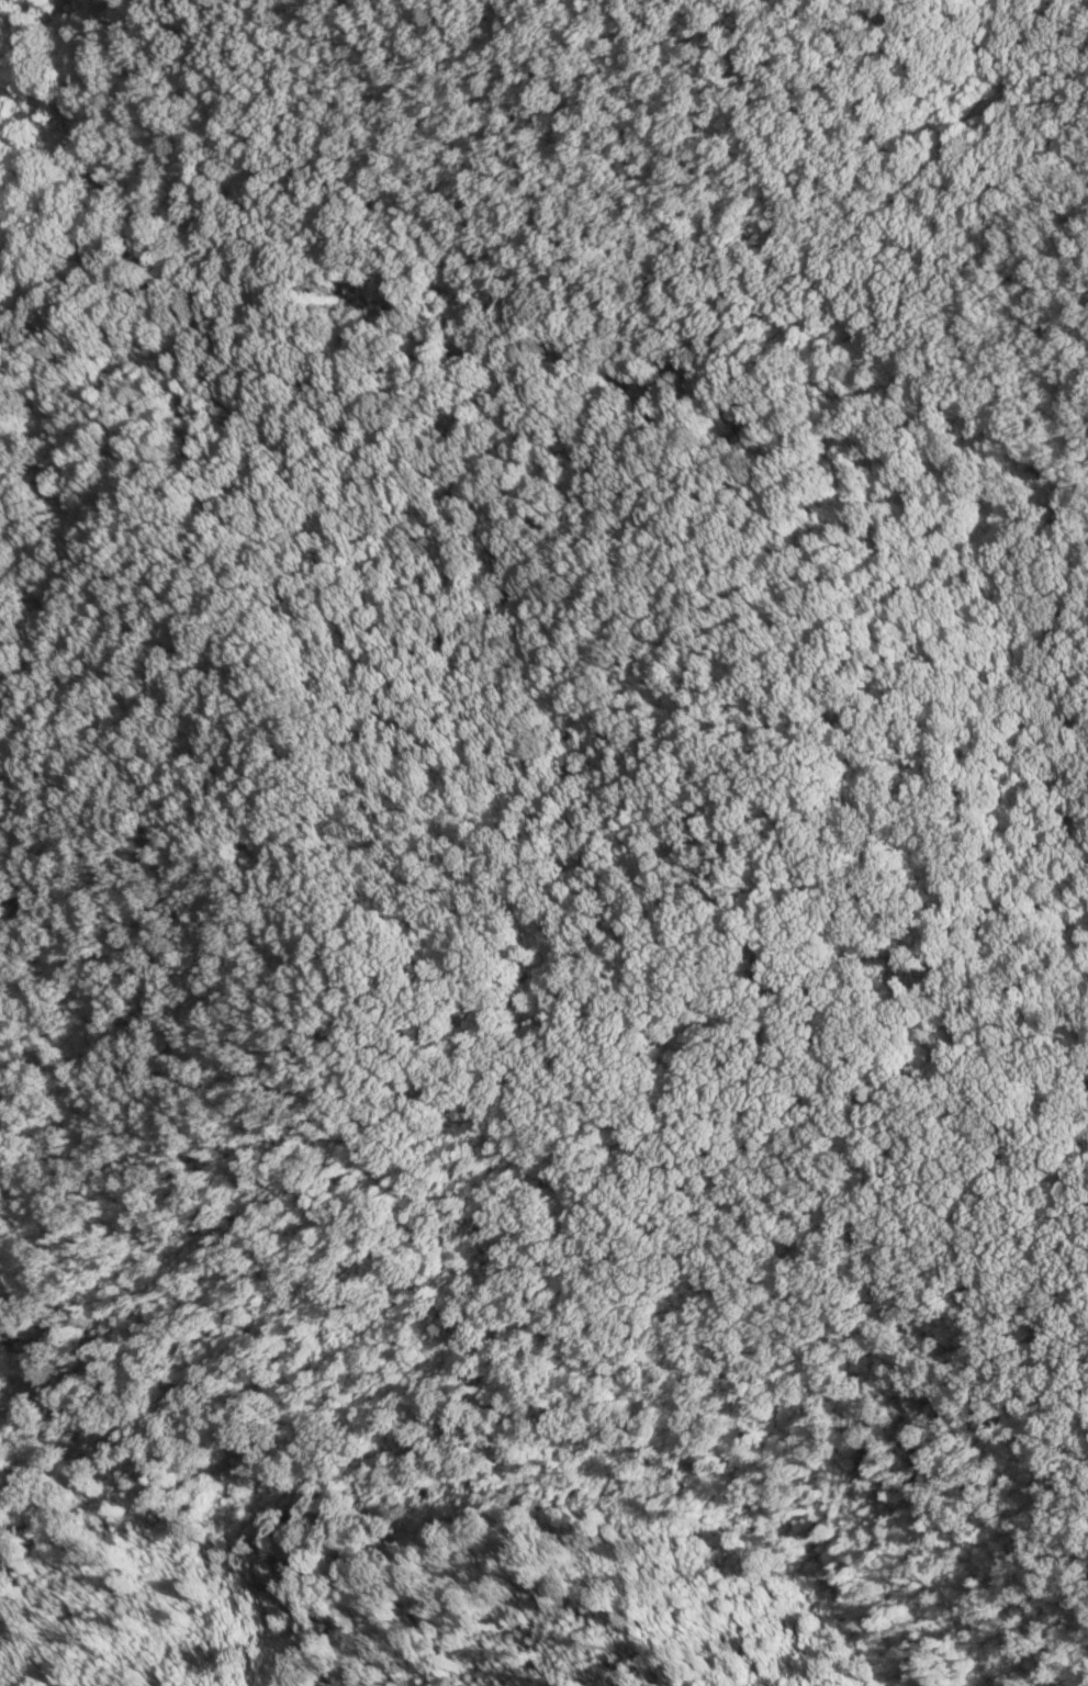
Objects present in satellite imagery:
road: (60, 180)

